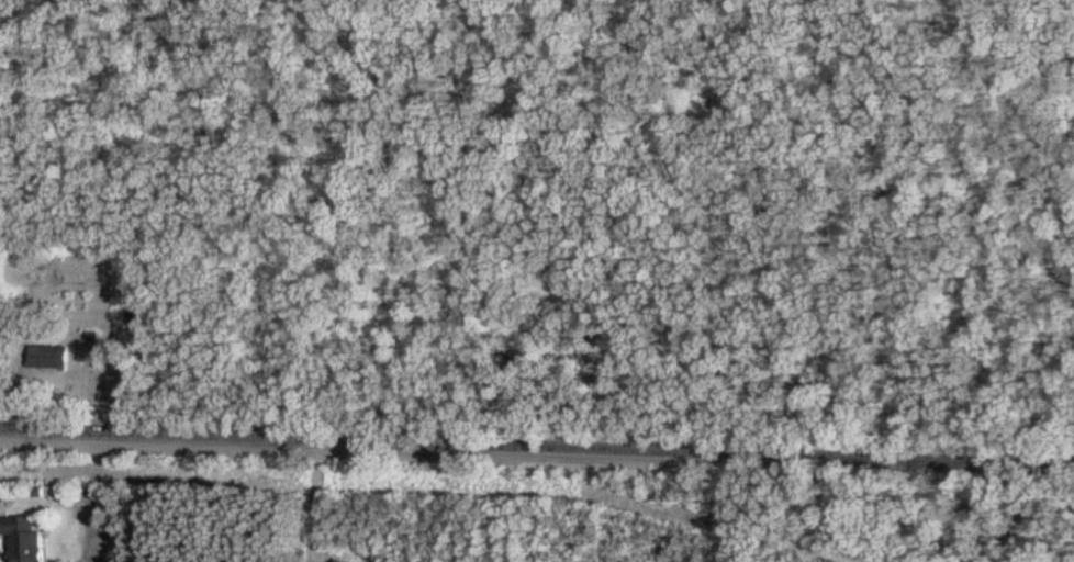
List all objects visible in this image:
building: (91, 351)
building: (52, 358)
road: (536, 450)
road: (318, 502)
road: (742, 509)
road: (835, 510)
building: (27, 538)
building: (342, 561)

